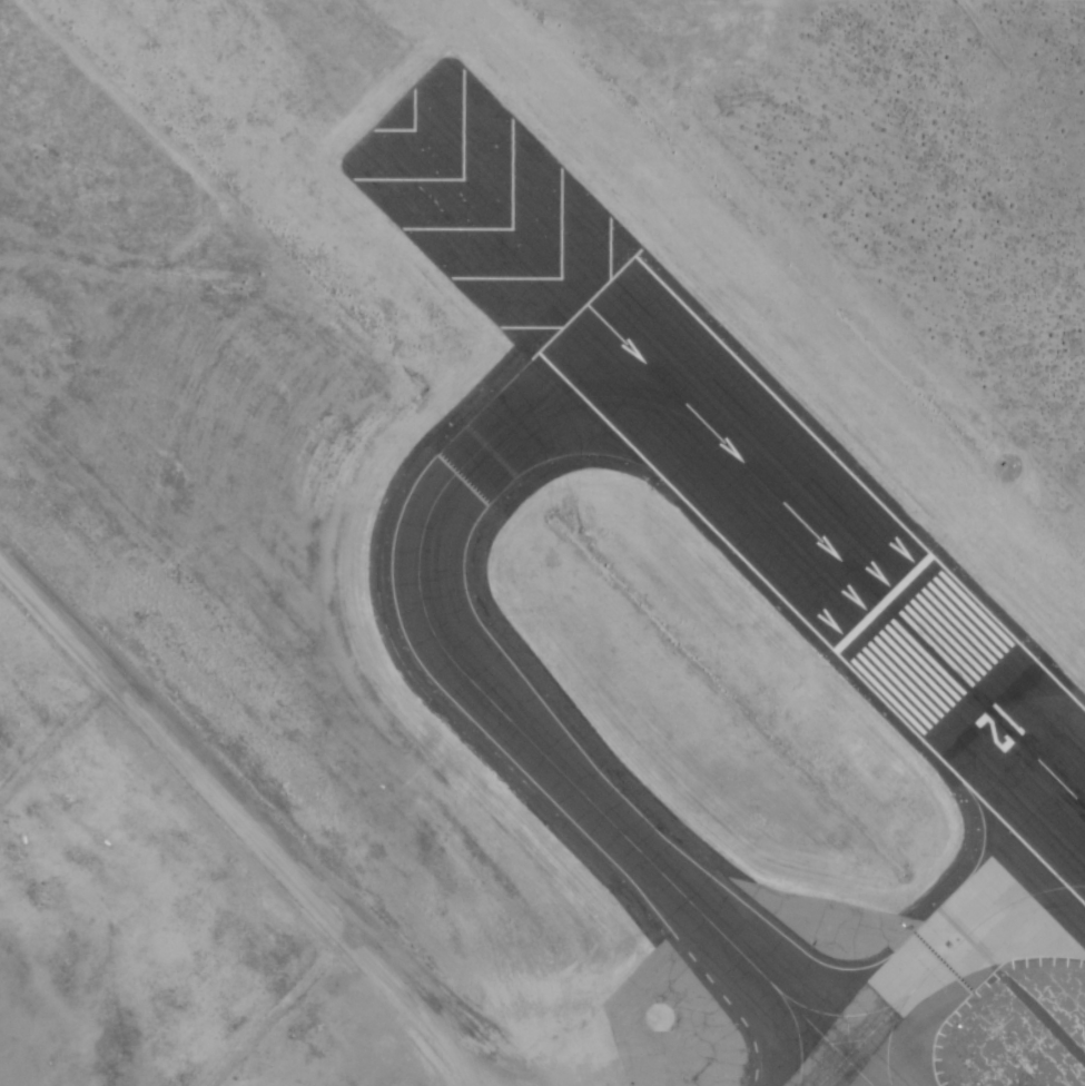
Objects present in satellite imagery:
airport runway: (736, 456)
airport: (542, 543)
airport taxiway: (485, 693)
airport runway: (984, 708)
airport apron: (165, 918)
airport taxiway: (939, 965)

